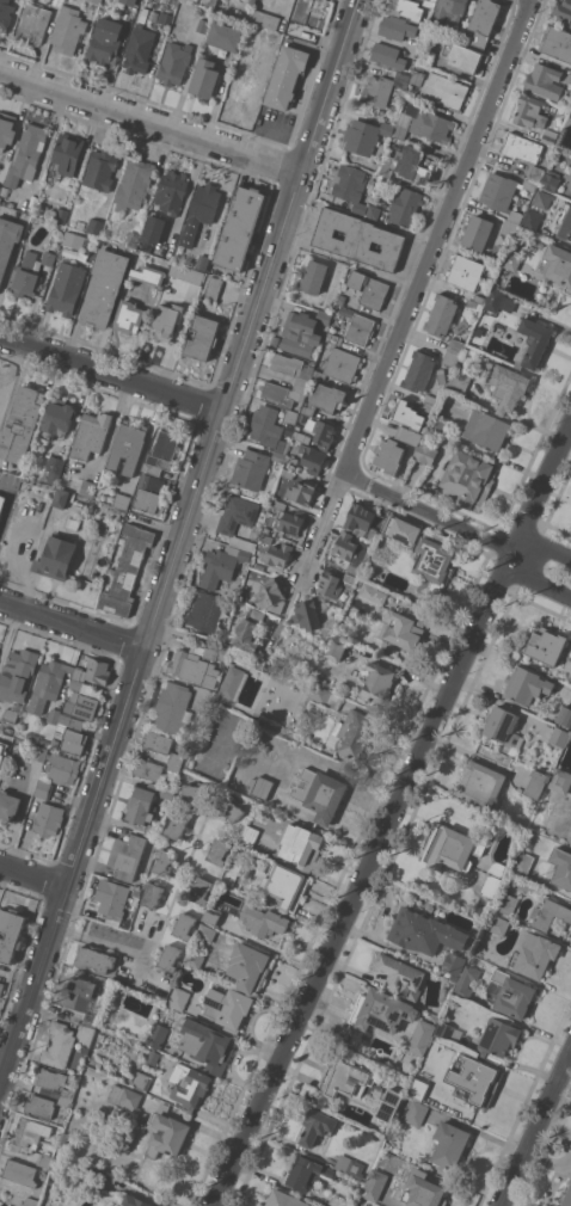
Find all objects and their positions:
building: (434, 0)
building: (96, 1)
building: (129, 1)
building: (252, 1)
building: (429, 2)
building: (406, 8)
building: (449, 8)
building: (563, 11)
building: (5, 13)
building: (142, 14)
building: (165, 18)
building: (265, 19)
building: (33, 23)
building: (483, 23)
building: (203, 25)
building: (397, 27)
building: (68, 30)
building: (252, 30)
building: (460, 32)
building: (308, 33)
building: (225, 36)
building: (270, 38)
building: (105, 39)
building: (557, 42)
building: (139, 49)
building: (387, 55)
building: (465, 56)
building: (431, 59)
building: (174, 62)
building: (285, 76)
building: (418, 76)
building: (204, 78)
building: (546, 81)
building: (570, 81)
building: (242, 86)
building: (382, 88)
building: (444, 90)
building: (530, 111)
road: (152, 122)
building: (429, 123)
building: (569, 123)
building: (7, 130)
building: (400, 131)
building: (364, 135)
building: (548, 139)
building: (522, 147)
building: (68, 153)
building: (26, 154)
building: (416, 164)
building: (387, 168)
building: (100, 170)
building: (535, 173)
building: (549, 180)
building: (134, 184)
building: (529, 184)
building: (350, 185)
building: (498, 191)
building: (171, 192)
building: (542, 198)
building: (405, 205)
building: (201, 211)
building: (374, 211)
building: (62, 215)
building: (515, 216)
building: (532, 219)
building: (563, 222)
building: (96, 226)
building: (240, 227)
building: (509, 227)
building: (154, 228)
building: (478, 233)
building: (73, 239)
building: (133, 239)
building: (358, 239)
building: (8, 241)
building: (147, 247)
building: (50, 252)
building: (202, 261)
building: (511, 261)
building: (557, 264)
building: (493, 265)
building: (465, 271)
building: (190, 273)
building: (148, 275)
building: (25, 276)
building: (313, 277)
building: (104, 287)
building: (66, 288)
building: (213, 289)
building: (369, 289)
road: (417, 293)
building: (340, 299)
building: (479, 299)
building: (493, 300)
building: (473, 304)
building: (442, 314)
building: (128, 316)
building: (166, 321)
building: (461, 326)
building: (360, 328)
building: (303, 332)
building: (202, 337)
building: (334, 338)
building: (275, 340)
building: (534, 340)
building: (455, 345)
building: (450, 358)
building: (340, 365)
building: (293, 368)
building: (418, 370)
road: (112, 374)
building: (441, 376)
building: (0, 380)
building: (459, 382)
building: (506, 387)
building: (1, 390)
building: (283, 393)
building: (325, 399)
building: (431, 399)
building: (428, 408)
building: (407, 414)
building: (56, 418)
building: (290, 418)
building: (22, 423)
building: (437, 425)
building: (268, 427)
building: (486, 429)
building: (321, 432)
building: (91, 435)
building: (409, 435)
building: (302, 436)
building: (127, 447)
building: (162, 451)
building: (426, 453)
building: (389, 455)
building: (278, 457)
building: (312, 457)
building: (291, 459)
building: (54, 468)
building: (250, 468)
building: (288, 473)
building: (467, 480)
road: (358, 481)
building: (78, 486)
road: (373, 488)
building: (302, 491)
building: (148, 492)
road: (540, 496)
building: (61, 498)
building: (122, 500)
building: (2, 503)
road: (5, 512)
road: (435, 517)
building: (238, 518)
building: (288, 518)
building: (360, 518)
building: (73, 523)
building: (401, 529)
building: (373, 535)
building: (266, 537)
road: (533, 546)
road: (179, 548)
building: (352, 550)
building: (278, 555)
building: (56, 556)
building: (375, 558)
building: (434, 562)
building: (222, 565)
building: (259, 566)
building: (127, 571)
road: (528, 571)
building: (350, 578)
building: (330, 582)
building: (251, 586)
building: (391, 589)
building: (374, 592)
building: (271, 596)
building: (205, 610)
building: (309, 615)
road: (73, 624)
building: (401, 628)
building: (248, 632)
building: (308, 638)
building: (214, 640)
building: (544, 644)
building: (336, 648)
building: (210, 651)
building: (247, 658)
building: (194, 667)
building: (93, 671)
building: (17, 673)
building: (570, 678)
building: (233, 682)
building: (75, 683)
building: (377, 683)
building: (48, 684)
building: (527, 685)
building: (91, 690)
building: (323, 695)
building: (86, 707)
building: (173, 707)
building: (10, 715)
building: (564, 715)
building: (63, 721)
building: (503, 725)
building: (351, 733)
building: (559, 736)
building: (36, 739)
building: (73, 740)
building: (158, 742)
building: (55, 743)
building: (5, 746)
building: (38, 752)
building: (176, 762)
building: (61, 768)
building: (148, 769)
building: (560, 780)
building: (536, 783)
building: (481, 784)
building: (260, 787)
building: (44, 789)
building: (195, 792)
building: (166, 793)
building: (320, 794)
building: (142, 804)
building: (8, 806)
building: (229, 807)
building: (49, 819)
building: (177, 825)
building: (153, 830)
building: (250, 836)
building: (301, 845)
building: (453, 848)
building: (217, 850)
building: (128, 855)
building: (165, 862)
building: (522, 862)
building: (561, 867)
building: (232, 873)
road: (35, 876)
building: (282, 885)
road: (363, 885)
building: (490, 885)
building: (221, 887)
building: (199, 890)
building: (152, 894)
building: (112, 898)
building: (505, 902)
building: (551, 913)
building: (211, 915)
building: (264, 919)
building: (127, 924)
building: (497, 924)
building: (184, 925)
building: (425, 931)
building: (10, 933)
building: (205, 933)
road: (100, 940)
building: (534, 953)
building: (168, 956)
building: (94, 959)
building: (194, 960)
building: (454, 962)
building: (248, 967)
building: (401, 976)
building: (454, 977)
building: (467, 982)
building: (1, 986)
building: (79, 992)
building: (512, 993)
building: (442, 996)
building: (179, 998)
building: (226, 1007)
building: (381, 1010)
building: (92, 1020)
building: (448, 1032)
building: (86, 1033)
building: (156, 1035)
building: (420, 1036)
building: (498, 1038)
building: (204, 1044)
building: (59, 1045)
building: (153, 1058)
building: (475, 1078)
building: (344, 1079)
building: (142, 1081)
building: (55, 1085)
building: (189, 1085)
building: (418, 1088)
building: (117, 1093)
building: (131, 1099)
building: (39, 1105)
building: (389, 1105)
building: (417, 1113)
building: (317, 1126)
road: (536, 1131)
building: (166, 1133)
building: (30, 1134)
building: (61, 1140)
building: (450, 1144)
building: (44, 1159)
building: (355, 1168)
building: (20, 1171)
building: (307, 1173)
building: (375, 1185)
building: (423, 1190)
building: (567, 1198)
building: (285, 1199)
building: (30, 1201)
building: (135, 1201)
building: (363, 1201)
building: (339, 1202)
building: (355, 1205)

